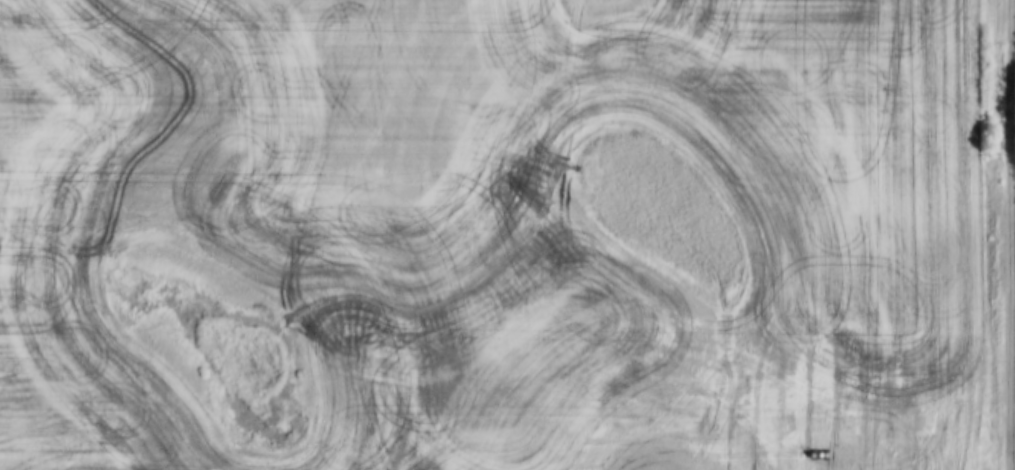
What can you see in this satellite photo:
road: (1010, 234)

